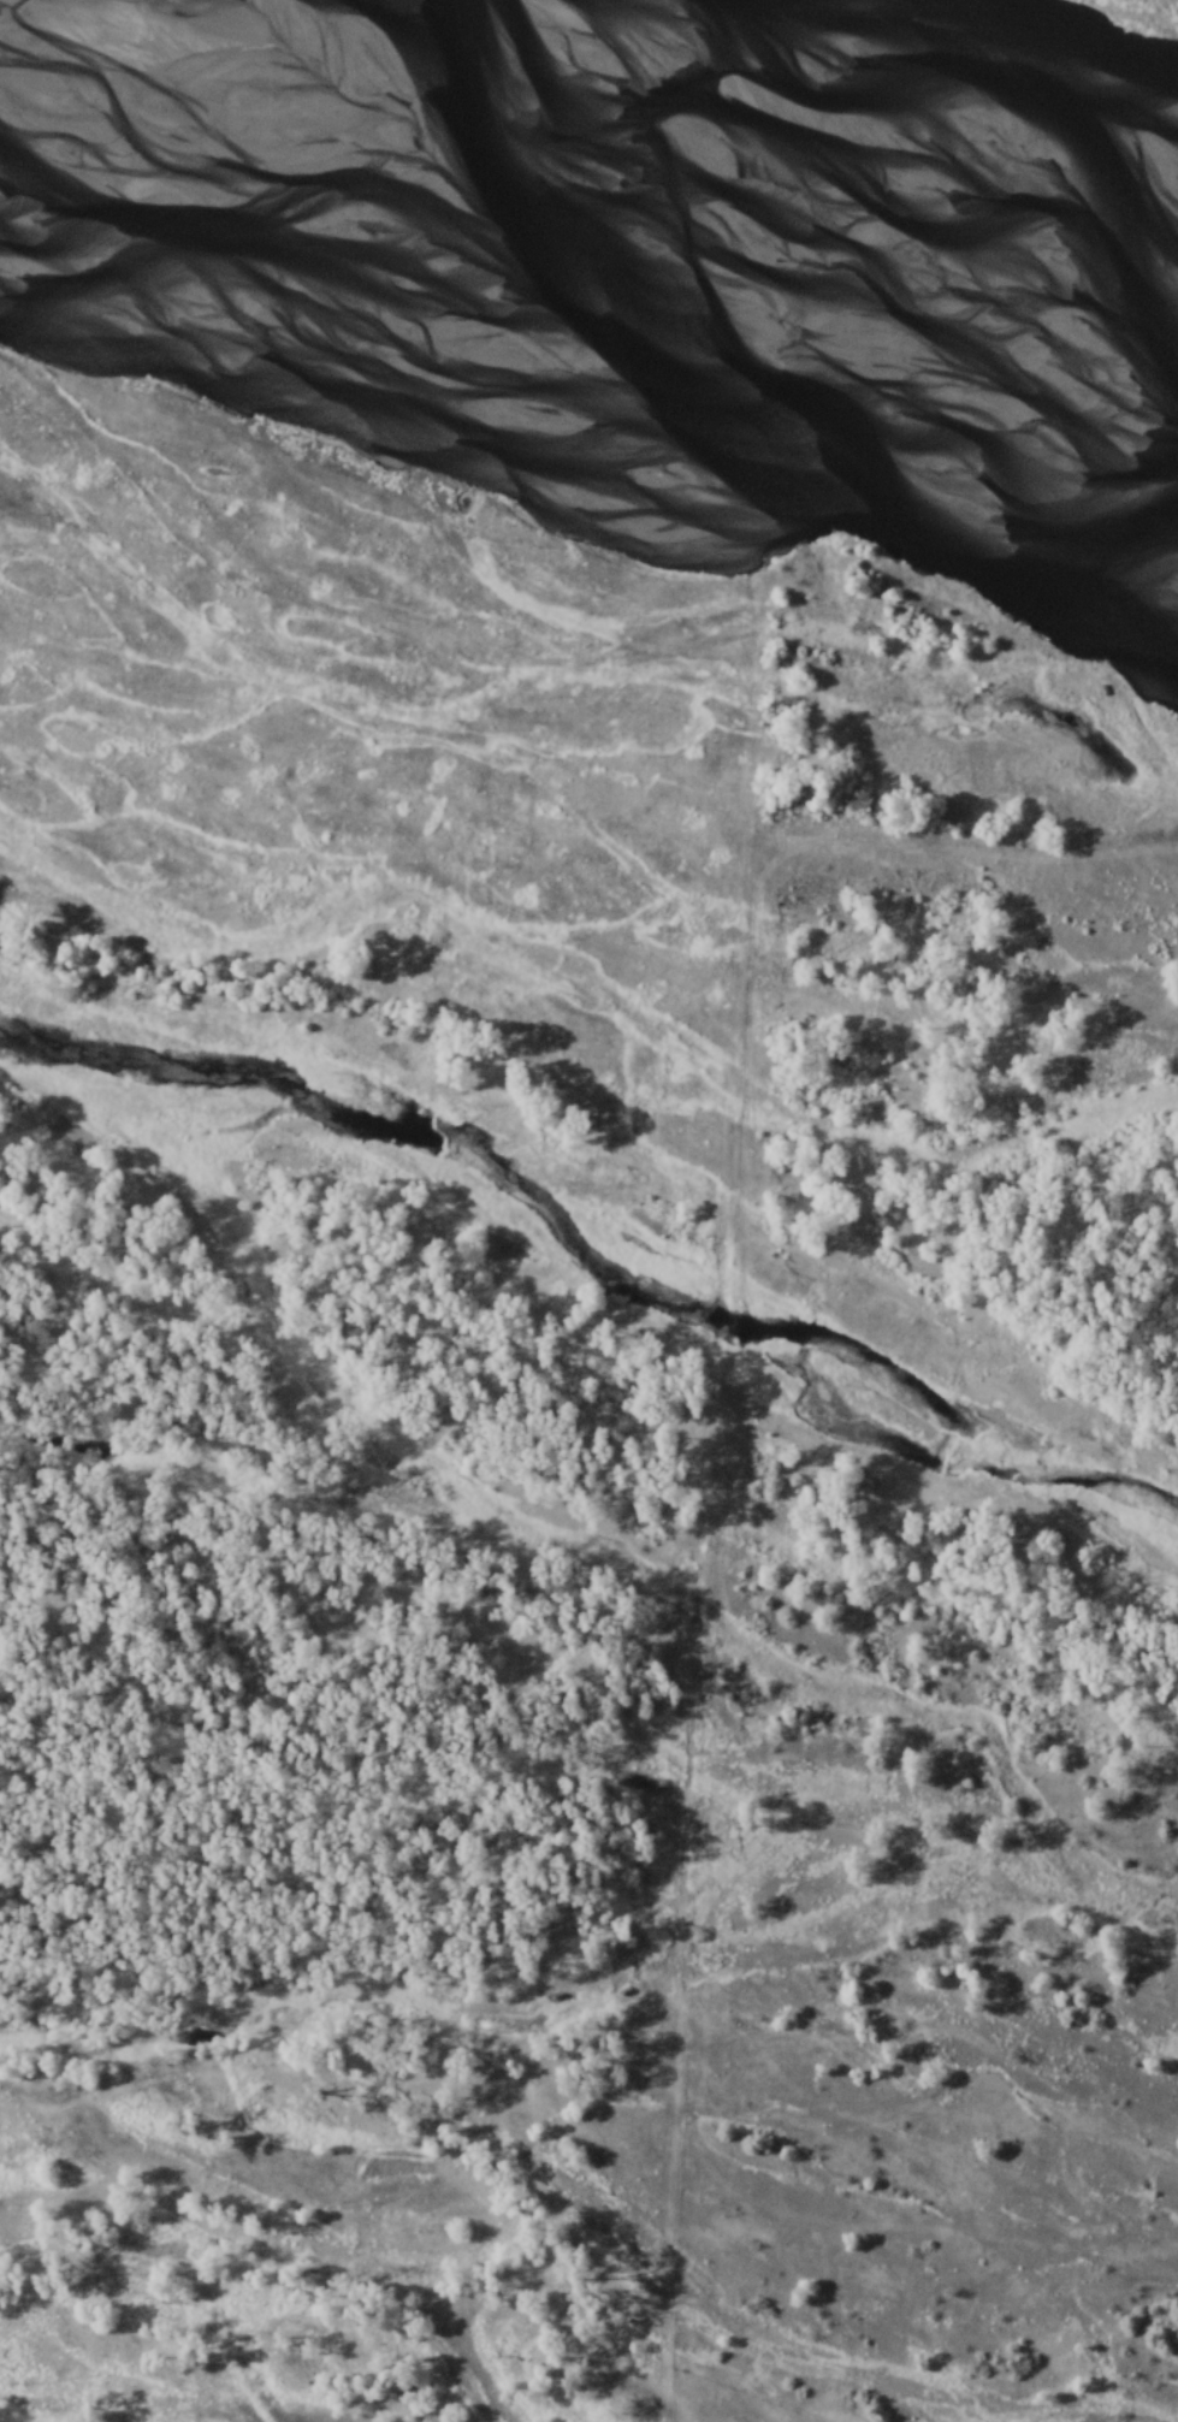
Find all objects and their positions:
river: (588, 267)

